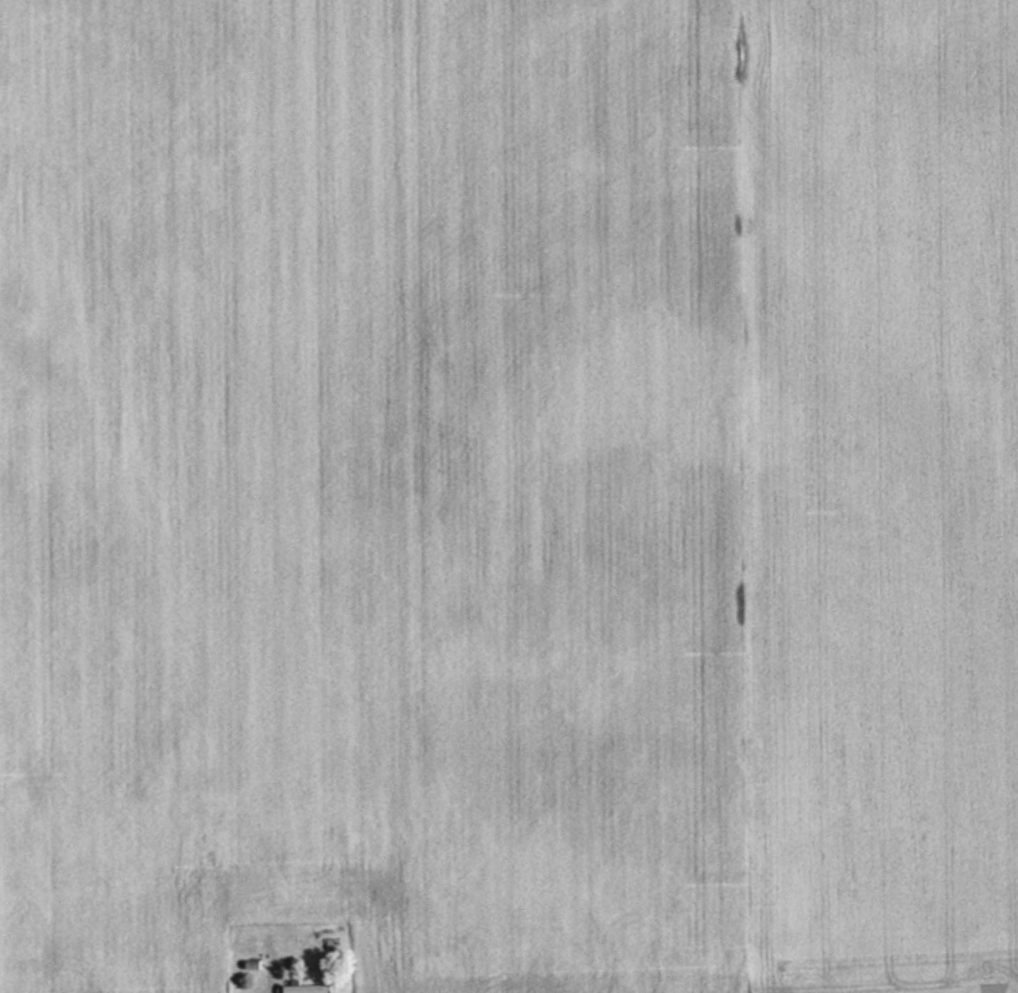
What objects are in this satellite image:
building: (249, 965)
building: (303, 988)

